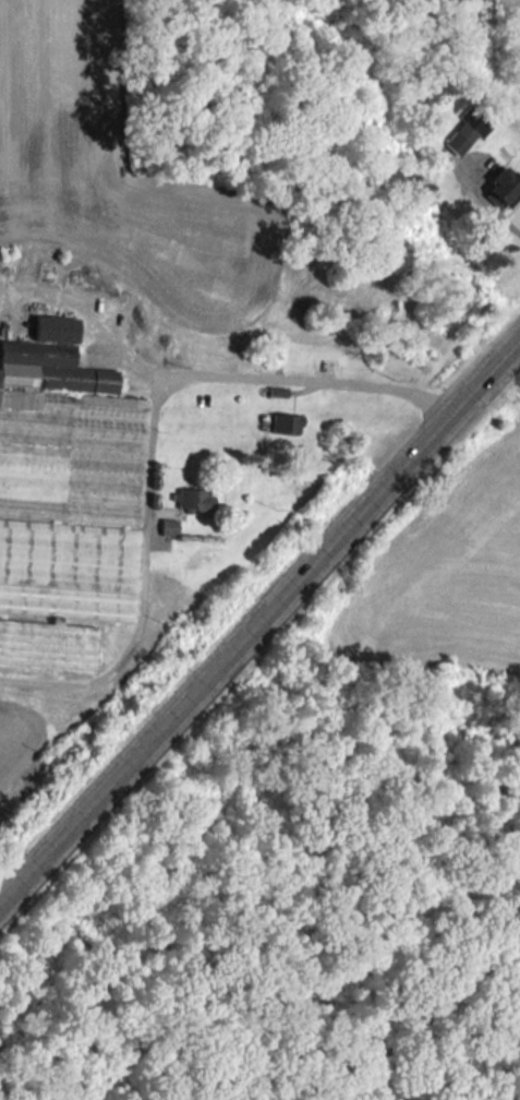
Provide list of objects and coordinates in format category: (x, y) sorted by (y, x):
building: (465, 130)
building: (504, 187)
road: (500, 216)
road: (245, 379)
building: (285, 422)
building: (63, 498)
building: (193, 499)
building: (168, 526)
road: (259, 612)

